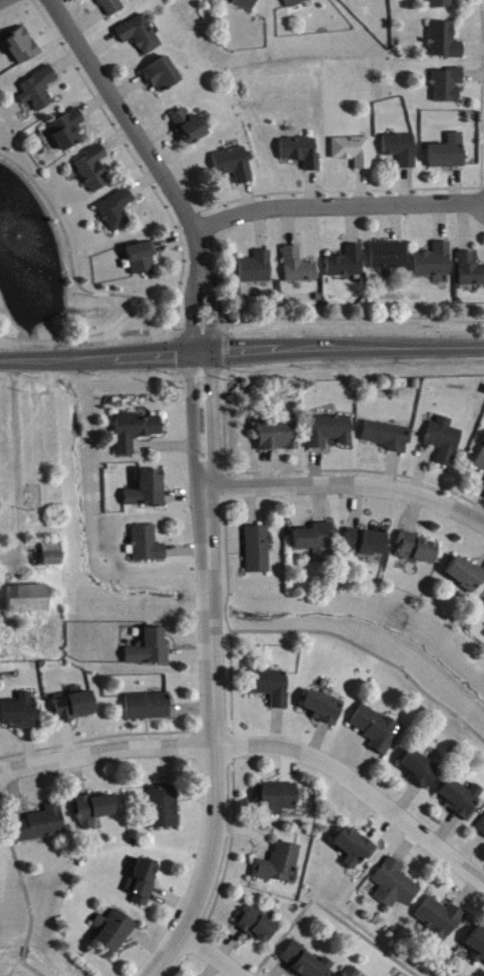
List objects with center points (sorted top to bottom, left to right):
building: (296, 3)
building: (247, 4)
building: (442, 4)
building: (112, 7)
building: (141, 35)
building: (446, 42)
building: (23, 47)
building: (163, 76)
building: (449, 86)
building: (40, 90)
building: (191, 128)
building: (68, 131)
building: (403, 150)
building: (355, 152)
building: (302, 153)
building: (450, 154)
road: (158, 166)
building: (236, 166)
building: (95, 170)
road: (340, 205)
building: (118, 210)
road: (66, 238)
building: (390, 257)
building: (143, 258)
building: (436, 262)
building: (348, 264)
building: (300, 268)
building: (258, 269)
building: (471, 271)
road: (167, 304)
road: (350, 315)
road: (200, 323)
road: (223, 326)
road: (76, 335)
road: (223, 349)
road: (241, 352)
traffic signals: (200, 353)
road: (353, 365)
building: (331, 432)
building: (135, 433)
building: (278, 436)
building: (387, 437)
building: (446, 442)
road: (15, 460)
building: (481, 463)
road: (306, 469)
road: (349, 486)
building: (148, 491)
building: (315, 539)
building: (368, 542)
building: (148, 546)
road: (226, 550)
building: (418, 550)
building: (259, 551)
building: (53, 555)
building: (466, 575)
building: (28, 600)
road: (316, 632)
building: (150, 650)
road: (213, 674)
building: (273, 688)
building: (76, 707)
building: (149, 708)
building: (324, 708)
building: (21, 714)
building: (377, 730)
road: (114, 733)
road: (262, 746)
building: (420, 770)
building: (278, 798)
building: (462, 799)
building: (96, 808)
building: (165, 808)
building: (43, 826)
building: (481, 828)
building: (356, 850)
building: (279, 865)
road: (224, 867)
road: (20, 877)
building: (143, 882)
building: (396, 887)
road: (325, 908)
building: (440, 920)
building: (258, 926)
building: (114, 932)
building: (478, 945)
road: (25, 948)
road: (209, 952)
building: (307, 963)
road: (14, 965)
road: (35, 967)
building: (354, 972)

